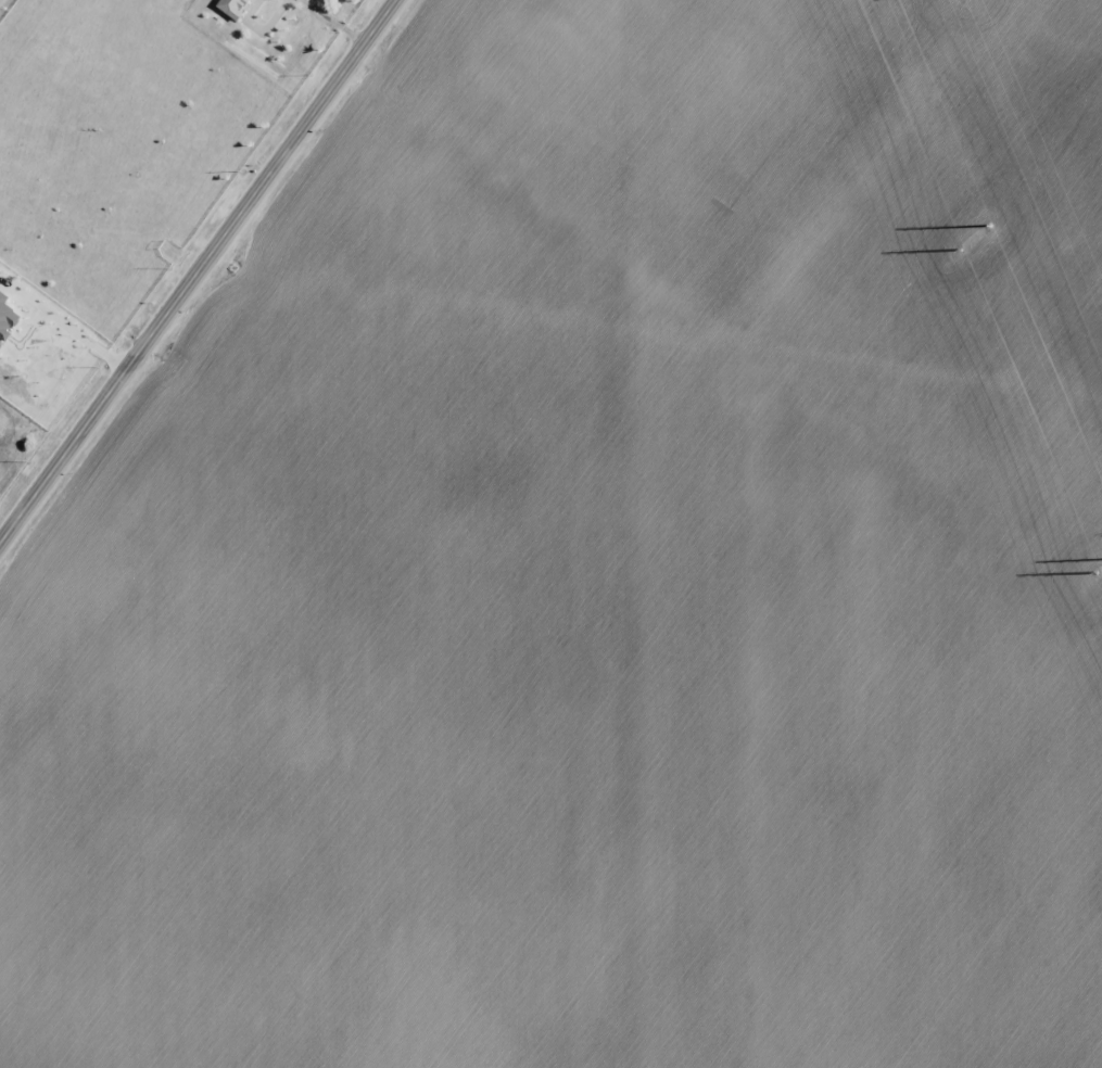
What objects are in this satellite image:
power tower: (991, 233)
power tower: (959, 249)
road: (199, 271)
power tower: (1094, 573)
crop: (600, 574)

